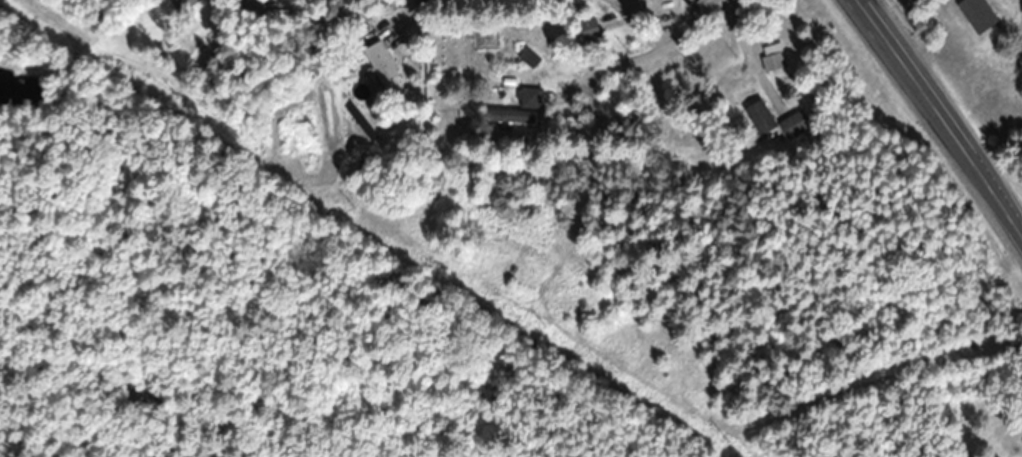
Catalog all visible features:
road: (432, 2)
building: (181, 3)
road: (422, 7)
building: (978, 13)
building: (587, 25)
road: (638, 25)
road: (746, 50)
road: (637, 56)
building: (772, 60)
building: (383, 65)
building: (529, 97)
building: (759, 113)
building: (511, 115)
road: (941, 120)
building: (795, 122)

